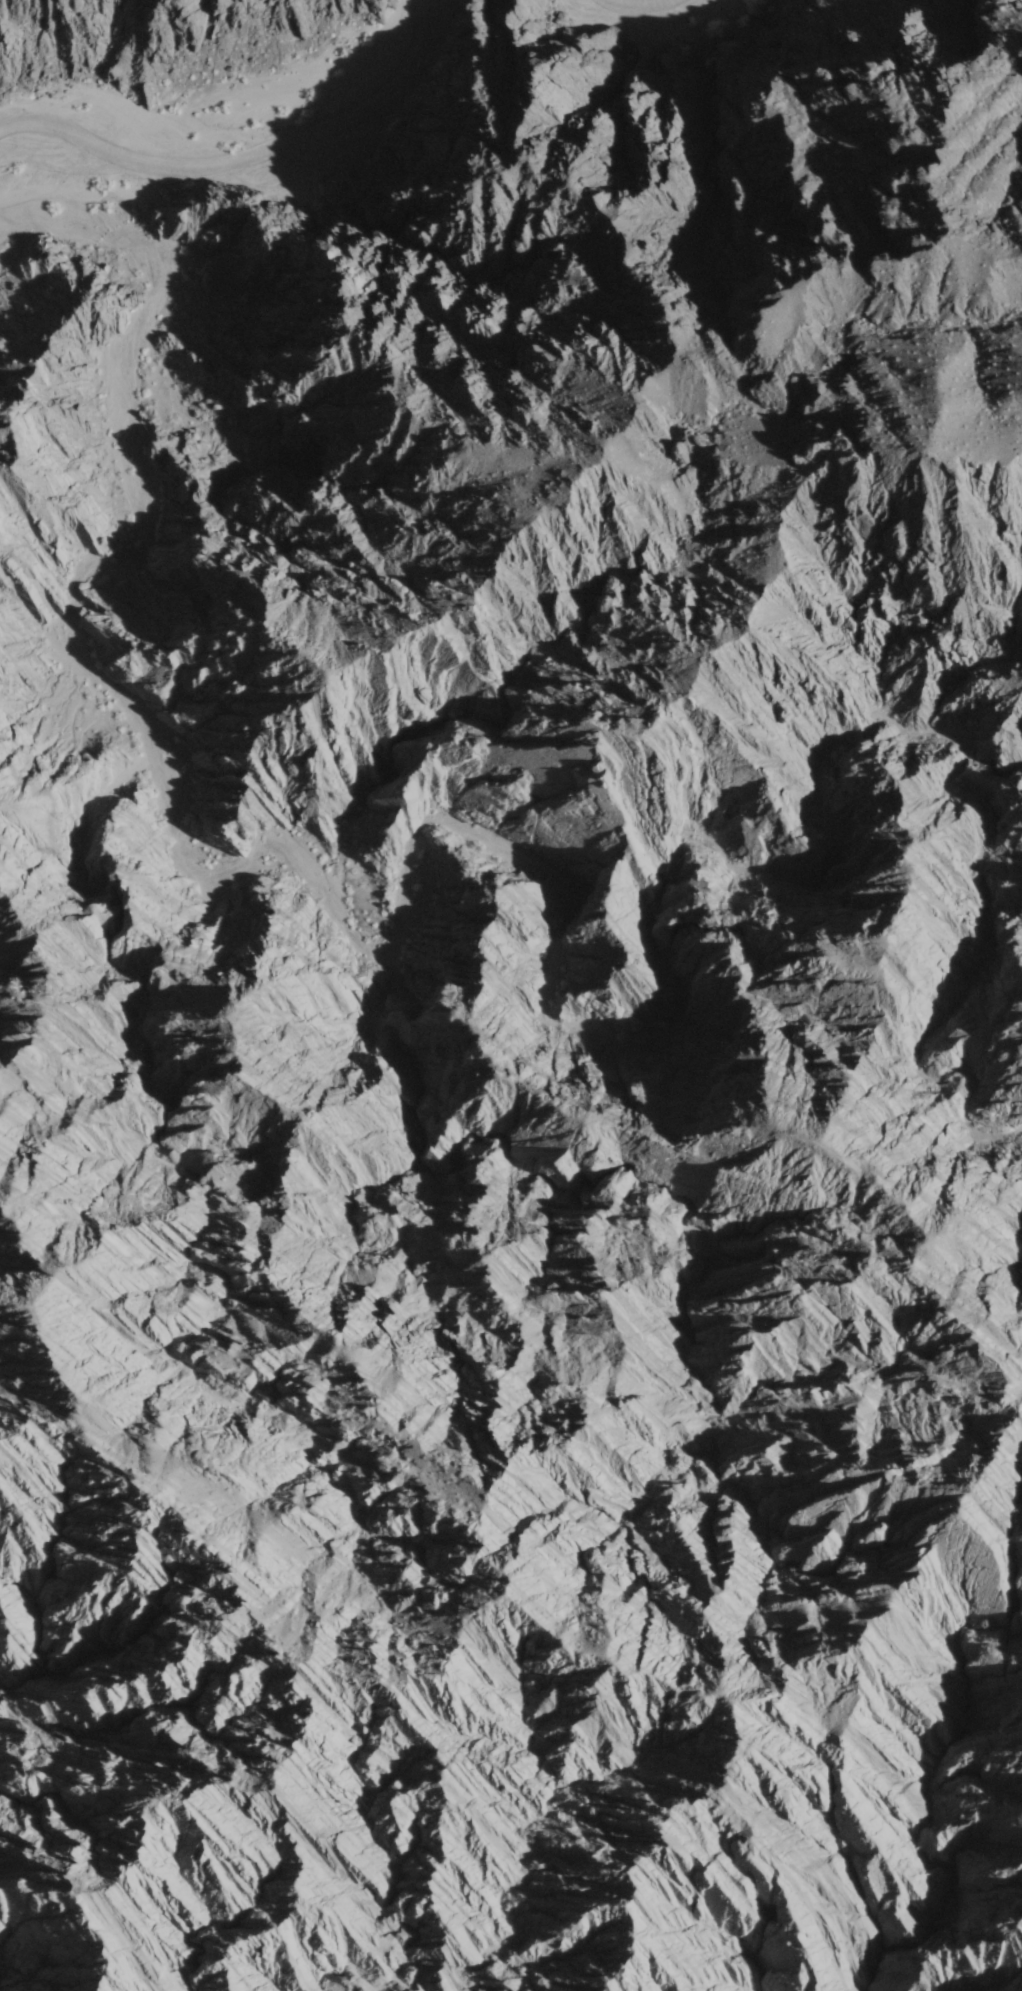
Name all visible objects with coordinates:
road: (630, 4)
road: (239, 167)

